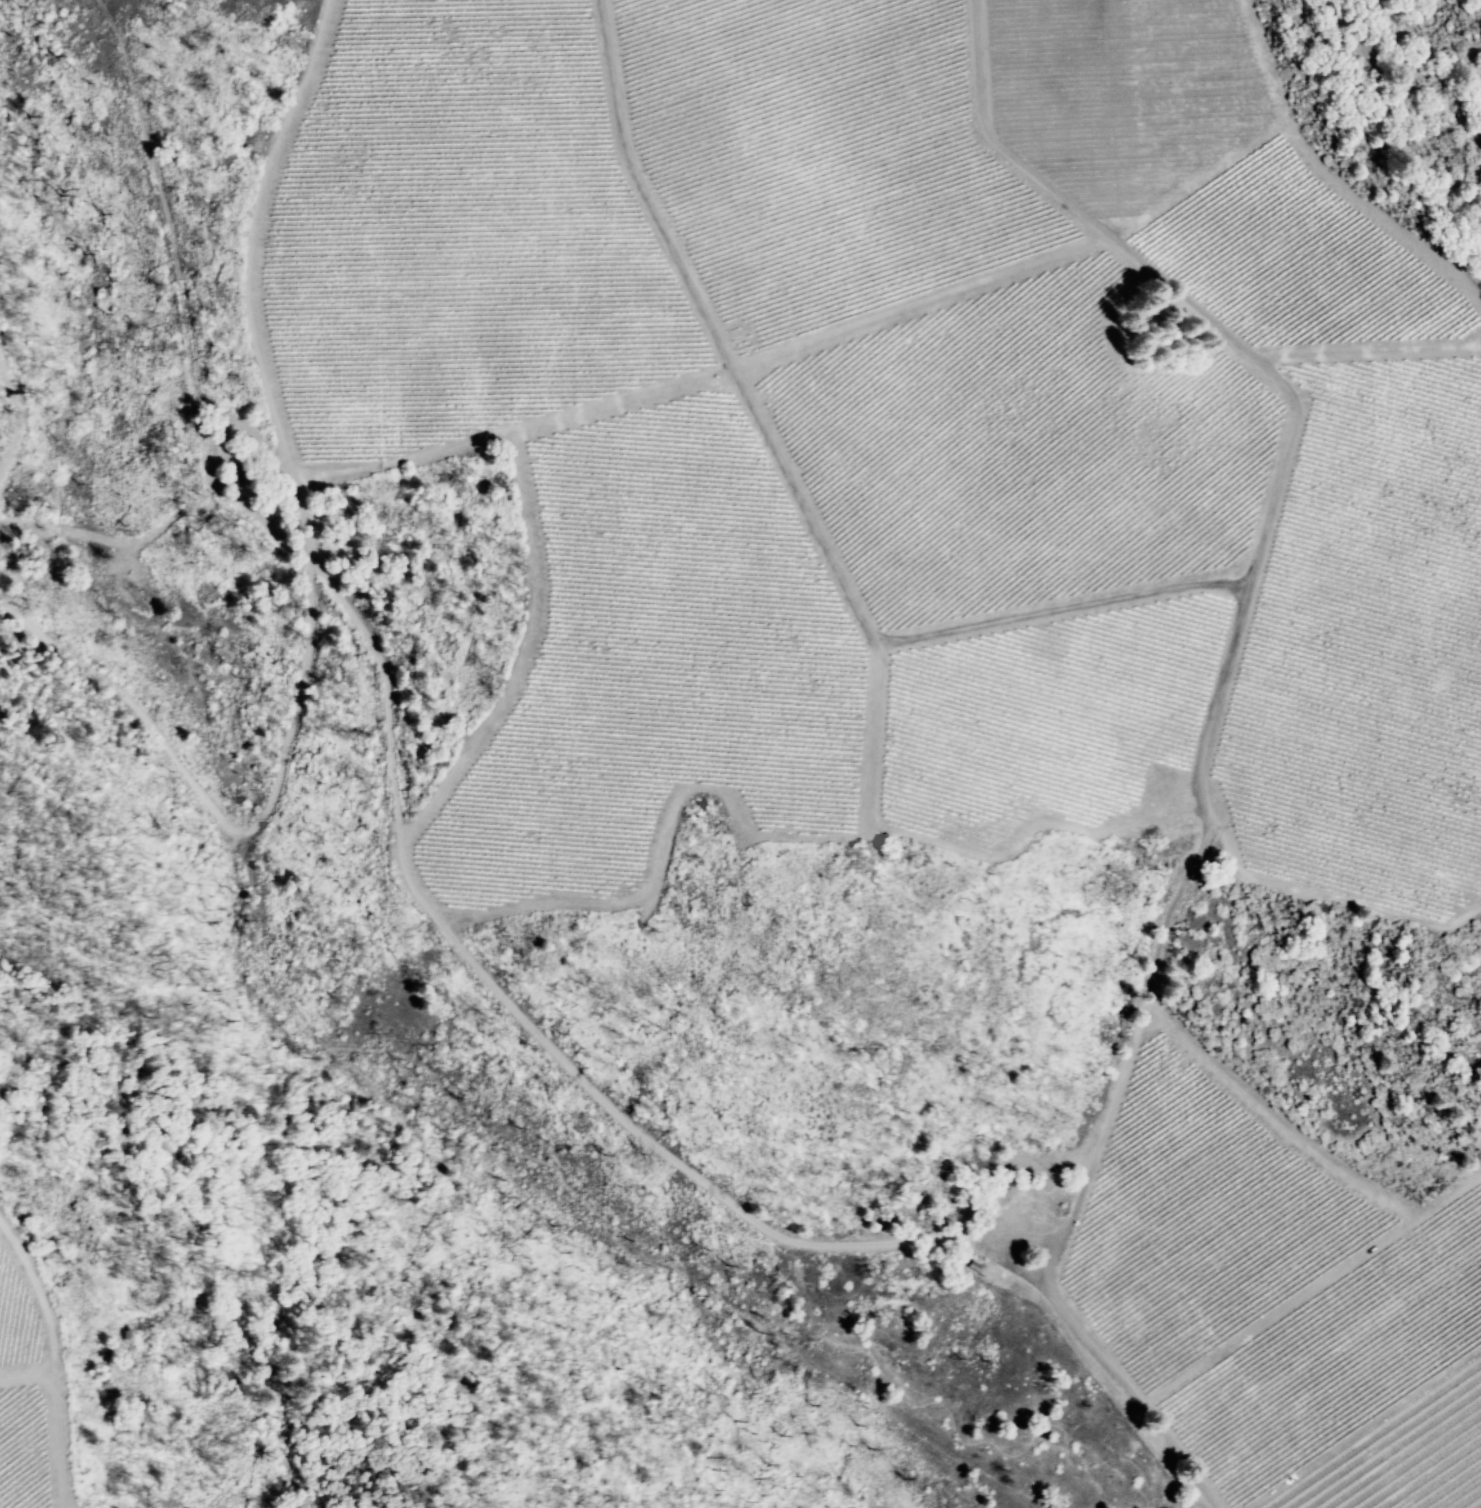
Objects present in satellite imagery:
road: (614, 1226)
road: (62, 1355)

